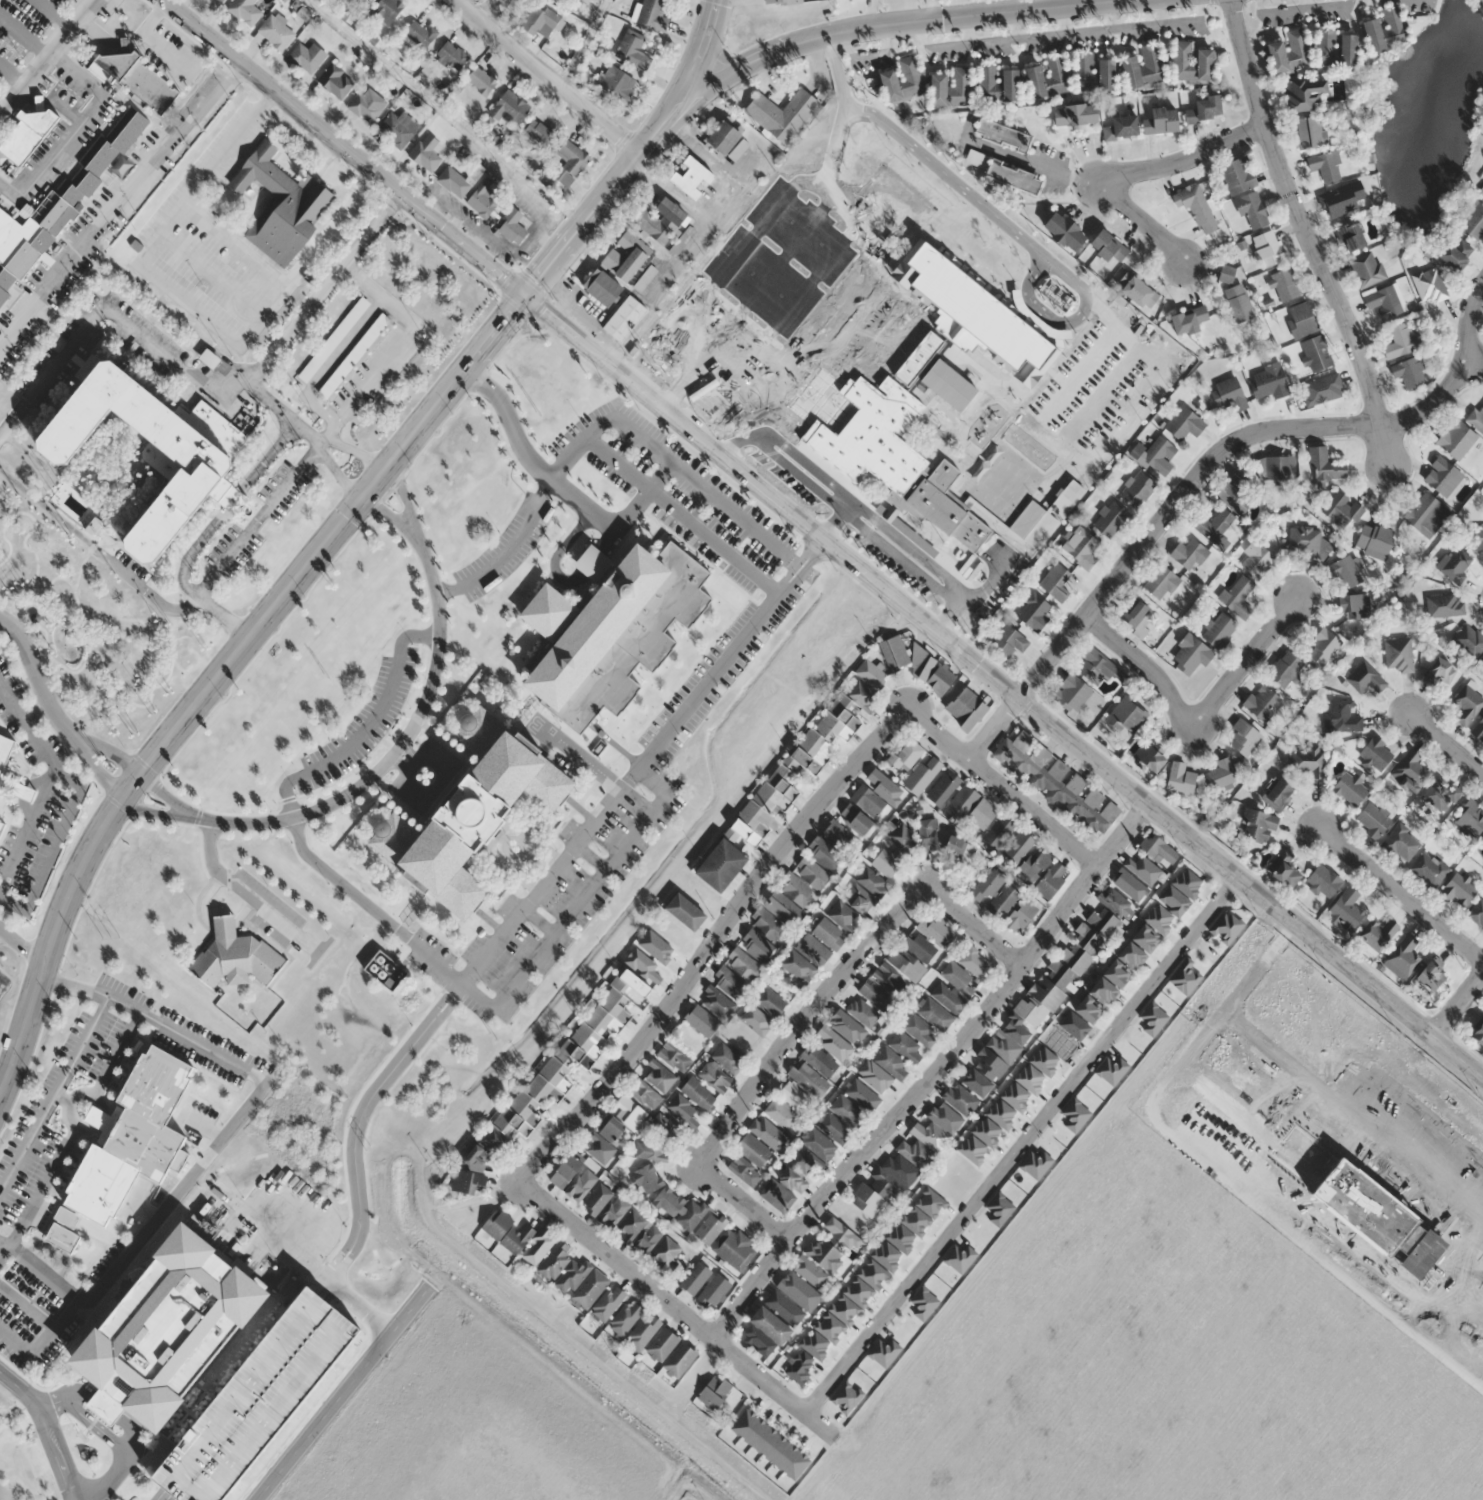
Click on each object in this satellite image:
building: (370, 0)
building: (560, 0)
building: (219, 1)
building: (783, 1)
building: (388, 10)
building: (245, 11)
road: (491, 11)
building: (653, 14)
building: (542, 21)
building: (1393, 22)
building: (277, 31)
building: (420, 34)
building: (1372, 34)
building: (1337, 47)
building: (633, 49)
road: (793, 50)
building: (1288, 52)
building: (452, 54)
building: (307, 55)
road: (46, 57)
building: (1194, 62)
building: (1145, 66)
building: (1096, 72)
road: (550, 74)
building: (1048, 77)
building: (137, 78)
road: (689, 78)
building: (904, 79)
building: (335, 80)
building: (482, 80)
building: (618, 82)
building: (999, 83)
building: (952, 87)
building: (1303, 94)
building: (367, 104)
building: (512, 105)
building: (1206, 109)
road: (443, 113)
building: (783, 113)
building: (1077, 114)
building: (1163, 120)
building: (398, 127)
building: (1123, 127)
building: (541, 130)
building: (1310, 132)
building: (27, 135)
power tower: (763, 135)
building: (1004, 135)
building: (729, 141)
road: (342, 149)
building: (427, 151)
road: (275, 155)
road: (288, 155)
building: (977, 158)
parking lot: (232, 161)
road: (325, 161)
building: (572, 161)
building: (1325, 165)
parking lot: (194, 169)
road: (1133, 169)
building: (1236, 175)
building: (1015, 176)
building: (694, 177)
building: (459, 180)
building: (1482, 190)
building: (483, 199)
building: (1340, 199)
road: (117, 200)
building: (61, 203)
building: (280, 203)
building: (1195, 207)
building: (1251, 210)
building: (661, 220)
building: (1473, 221)
building: (513, 226)
building: (1061, 231)
road: (1308, 233)
building: (1348, 236)
road: (246, 240)
road: (793, 242)
road: (234, 243)
building: (1106, 246)
road: (303, 248)
building: (1267, 248)
building: (1454, 254)
building: (626, 256)
parking lot: (223, 260)
road: (724, 269)
building: (1367, 269)
road: (210, 274)
building: (911, 278)
building: (1284, 285)
building: (1428, 285)
parking lot: (199, 286)
building: (604, 287)
road: (320, 289)
road: (792, 292)
road: (135, 294)
road: (188, 298)
traffic signals: (522, 300)
building: (1384, 301)
building: (1238, 303)
building: (625, 318)
building: (1186, 320)
building: (1299, 320)
road: (139, 336)
building: (983, 338)
building: (334, 339)
building: (1400, 341)
road: (751, 342)
building: (1315, 353)
building: (354, 355)
building: (1408, 372)
building: (1267, 381)
building: (1322, 389)
building: (1226, 394)
power tower: (539, 413)
building: (877, 415)
building: (1476, 416)
building: (1180, 423)
building: (1455, 439)
road: (349, 447)
building: (149, 455)
road: (664, 455)
building: (1157, 456)
building: (1323, 465)
road: (1203, 466)
building: (1276, 468)
road: (333, 469)
building: (1241, 477)
building: (1442, 477)
road: (561, 488)
building: (1135, 489)
building: (60, 494)
building: (1233, 498)
building: (1342, 510)
road: (681, 514)
building: (1425, 515)
building: (1109, 519)
building: (94, 524)
building: (1214, 528)
road: (203, 534)
building: (1478, 538)
road: (609, 540)
building: (1308, 541)
building: (1379, 542)
building: (1080, 548)
road: (506, 551)
road: (557, 553)
building: (1188, 554)
building: (1256, 559)
road: (595, 561)
building: (1453, 564)
building: (1346, 571)
building: (1055, 583)
building: (1160, 584)
building: (1237, 596)
building: (1354, 605)
building: (1441, 606)
road: (172, 609)
building: (1034, 611)
building: (1138, 620)
building: (608, 630)
building: (1218, 630)
building: (1010, 640)
building: (1469, 641)
building: (1322, 648)
road: (729, 654)
building: (1189, 655)
building: (1398, 656)
building: (1097, 667)
building: (1285, 669)
building: (871, 673)
building: (1439, 674)
power tower: (325, 676)
building: (1365, 678)
road: (221, 679)
building: (937, 680)
road: (1003, 688)
building: (862, 693)
building: (1070, 694)
building: (1262, 703)
building: (1467, 705)
road: (32, 711)
road: (52, 714)
building: (1126, 716)
building: (1342, 716)
road: (1196, 717)
road: (417, 719)
building: (841, 719)
road: (367, 728)
road: (29, 730)
building: (1477, 730)
building: (1243, 737)
road: (1442, 739)
road: (398, 749)
building: (907, 754)
building: (1375, 754)
road: (575, 755)
building: (4, 756)
building: (1146, 758)
building: (1309, 760)
road: (474, 767)
building: (1411, 771)
building: (923, 774)
building: (1221, 774)
road: (25, 778)
road: (367, 778)
building: (1179, 779)
building: (1057, 780)
road: (71, 784)
road: (98, 785)
building: (782, 785)
road: (322, 786)
building: (944, 787)
road: (1003, 787)
building: (1350, 788)
building: (877, 792)
building: (1276, 794)
building: (1442, 794)
building: (962, 801)
building: (469, 814)
building: (981, 815)
building: (857, 818)
building: (1373, 819)
building: (1470, 819)
building: (1257, 825)
building: (0, 826)
building: (1000, 830)
building: (837, 834)
building: (928, 834)
building: (1481, 836)
building: (902, 837)
building: (1401, 843)
building: (1018, 845)
building: (959, 847)
road: (209, 848)
building: (1158, 848)
building: (824, 853)
road: (591, 857)
building: (888, 861)
building: (1035, 863)
building: (723, 864)
building: (1143, 868)
building: (1283, 869)
building: (1428, 869)
building: (811, 872)
road: (548, 875)
building: (1051, 879)
building: (1323, 880)
building: (872, 882)
building: (1187, 882)
road: (343, 884)
building: (1130, 884)
building: (987, 885)
building: (795, 888)
building: (1458, 889)
road: (1395, 890)
building: (858, 898)
building: (1004, 900)
road: (13, 902)
building: (1115, 902)
building: (684, 910)
building: (1345, 910)
road: (268, 911)
building: (1477, 912)
building: (775, 914)
building: (1022, 914)
building: (842, 915)
building: (1158, 918)
road: (538, 921)
road: (209, 922)
road: (561, 926)
building: (1226, 926)
building: (935, 929)
building: (829, 933)
building: (1377, 935)
building: (1145, 936)
power tower: (110, 937)
road: (713, 941)
building: (757, 945)
building: (920, 946)
road: (23, 948)
building: (814, 949)
building: (1131, 954)
building: (235, 956)
building: (1402, 958)
building: (973, 960)
building: (906, 963)
building: (743, 964)
building: (798, 966)
building: (1116, 972)
building: (1428, 974)
building: (1184, 976)
building: (958, 978)
road: (0, 979)
building: (889, 979)
building: (730, 982)
parking lot: (4, 983)
building: (1102, 990)
building: (876, 993)
building: (948, 997)
building: (771, 1001)
building: (718, 1002)
road: (1457, 1006)
building: (1088, 1007)
building: (863, 1011)
building: (935, 1012)
road: (807, 1014)
building: (1153, 1017)
building: (756, 1019)
building: (702, 1020)
road: (157, 1022)
building: (847, 1026)
building: (920, 1030)
building: (1477, 1034)
building: (833, 1043)
building: (906, 1046)
road: (116, 1054)
building: (571, 1055)
building: (729, 1056)
building: (674, 1057)
building: (820, 1059)
building: (1044, 1060)
building: (893, 1063)
building: (1111, 1069)
road: (935, 1074)
building: (660, 1075)
building: (715, 1076)
building: (808, 1078)
building: (1029, 1078)
road: (4, 1086)
building: (699, 1092)
road: (53, 1093)
building: (644, 1093)
building: (794, 1095)
building: (863, 1095)
building: (1015, 1096)
road: (62, 1098)
building: (960, 1098)
building: (681, 1107)
building: (848, 1111)
building: (630, 1112)
building: (780, 1112)
building: (1000, 1113)
building: (1075, 1114)
building: (944, 1117)
road: (358, 1120)
road: (73, 1122)
road: (203, 1126)
building: (834, 1127)
building: (613, 1129)
building: (986, 1131)
building: (769, 1132)
building: (930, 1135)
building: (819, 1143)
road: (1020, 1143)
power tower: (367, 1147)
building: (124, 1148)
building: (600, 1149)
building: (754, 1149)
building: (971, 1149)
building: (651, 1150)
building: (915, 1153)
building: (808, 1161)
building: (1035, 1164)
building: (900, 1169)
building: (567, 1171)
building: (744, 1171)
building: (648, 1177)
building: (794, 1179)
building: (470, 1182)
building: (581, 1184)
building: (885, 1184)
road: (39, 1191)
building: (777, 1194)
building: (597, 1198)
building: (866, 1199)
building: (668, 1201)
building: (998, 1208)
building: (614, 1211)
building: (691, 1214)
building: (497, 1224)
road: (148, 1228)
building: (709, 1228)
building: (640, 1230)
building: (840, 1234)
building: (517, 1238)
building: (900, 1238)
building: (538, 1246)
building: (733, 1248)
building: (665, 1251)
building: (823, 1254)
building: (886, 1255)
building: (958, 1257)
building: (554, 1260)
building: (809, 1271)
building: (872, 1273)
building: (572, 1274)
building: (695, 1277)
crop: (1219, 1282)
road: (329, 1283)
building: (589, 1288)
building: (714, 1290)
building: (798, 1290)
building: (858, 1291)
building: (607, 1302)
building: (923, 1302)
road: (26, 1305)
building: (784, 1307)
road: (678, 1308)
building: (843, 1309)
building: (625, 1317)
building: (770, 1324)
building: (829, 1327)
building: (642, 1332)
building: (167, 1337)
road: (42, 1338)
building: (758, 1340)
building: (662, 1344)
building: (814, 1344)
power tower: (613, 1346)
building: (883, 1352)
building: (679, 1359)
building: (799, 1367)
building: (713, 1393)
road: (341, 1394)
building: (845, 1397)
building: (259, 1399)
parking garage: (259, 1399)
road: (122, 1420)
road: (94, 1426)
road: (47, 1429)
flagpole: (82, 1435)
building: (769, 1443)
road: (165, 1496)

